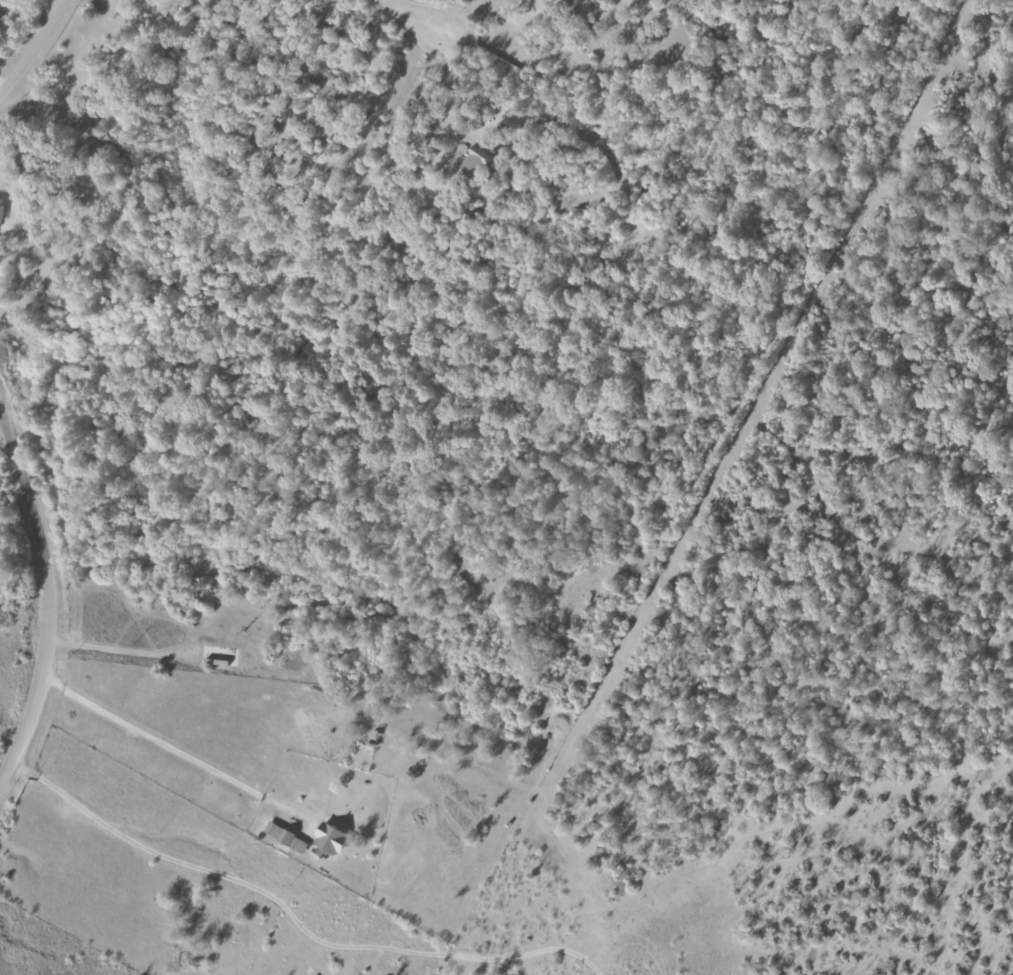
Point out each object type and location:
road: (416, 18)
road: (36, 48)
road: (1, 87)
building: (473, 161)
road: (48, 172)
building: (0, 205)
road: (48, 601)
road: (155, 731)
building: (284, 837)
building: (327, 839)
road: (295, 917)

